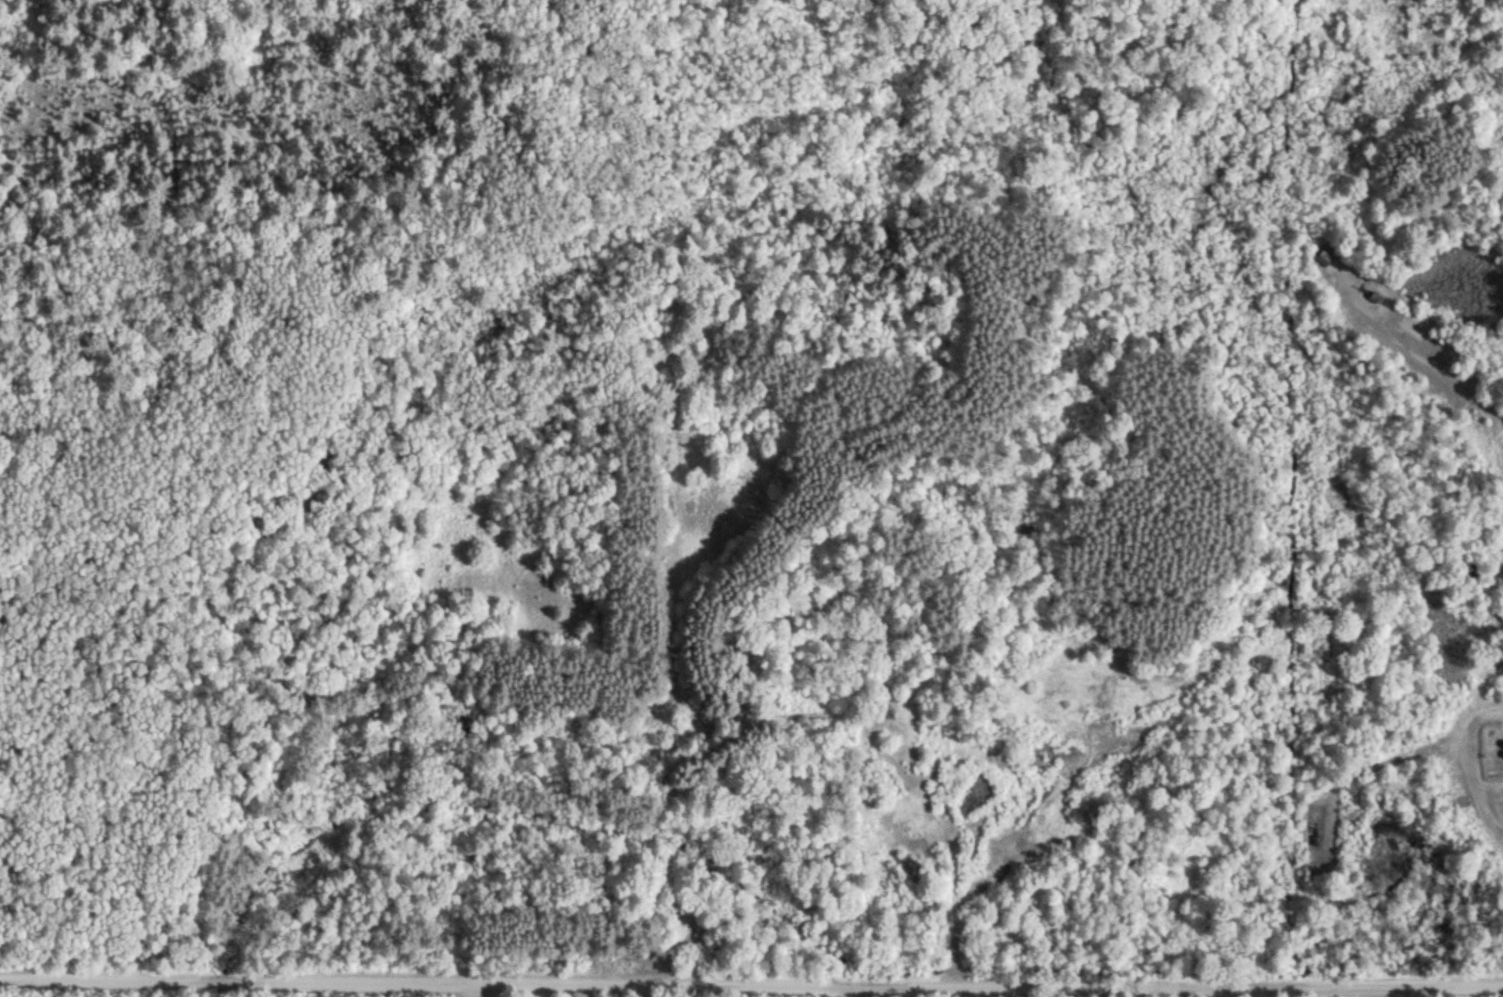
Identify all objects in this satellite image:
building: (1326, 257)
petroleum well: (1369, 294)
road: (1329, 714)
road: (751, 983)
road: (1220, 991)

